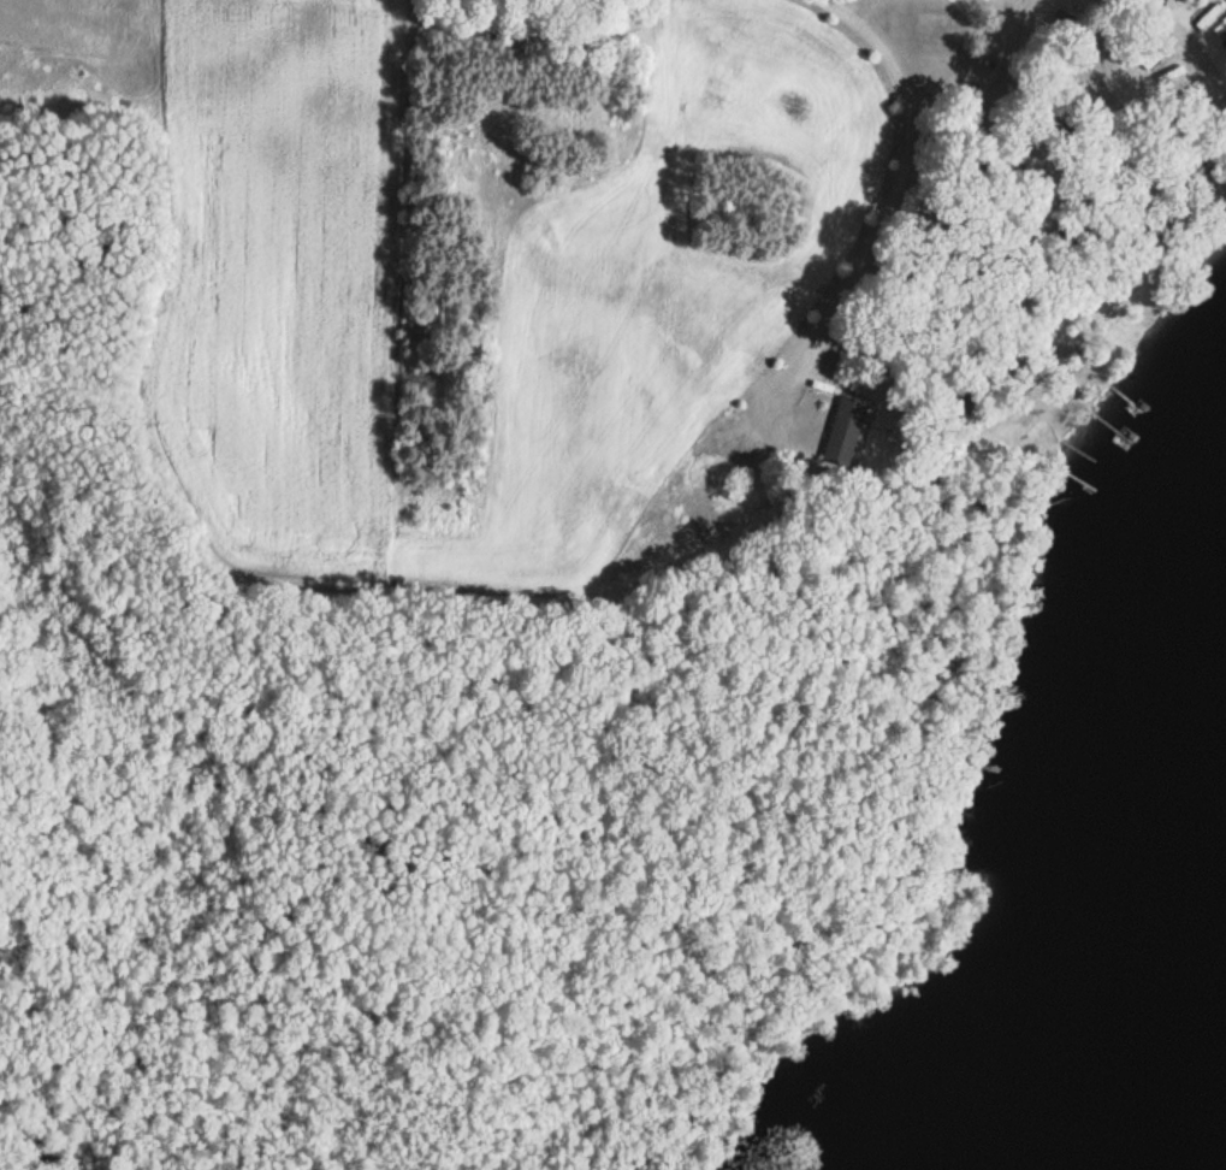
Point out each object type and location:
road: (1091, 28)
road: (736, 40)
building: (845, 424)

